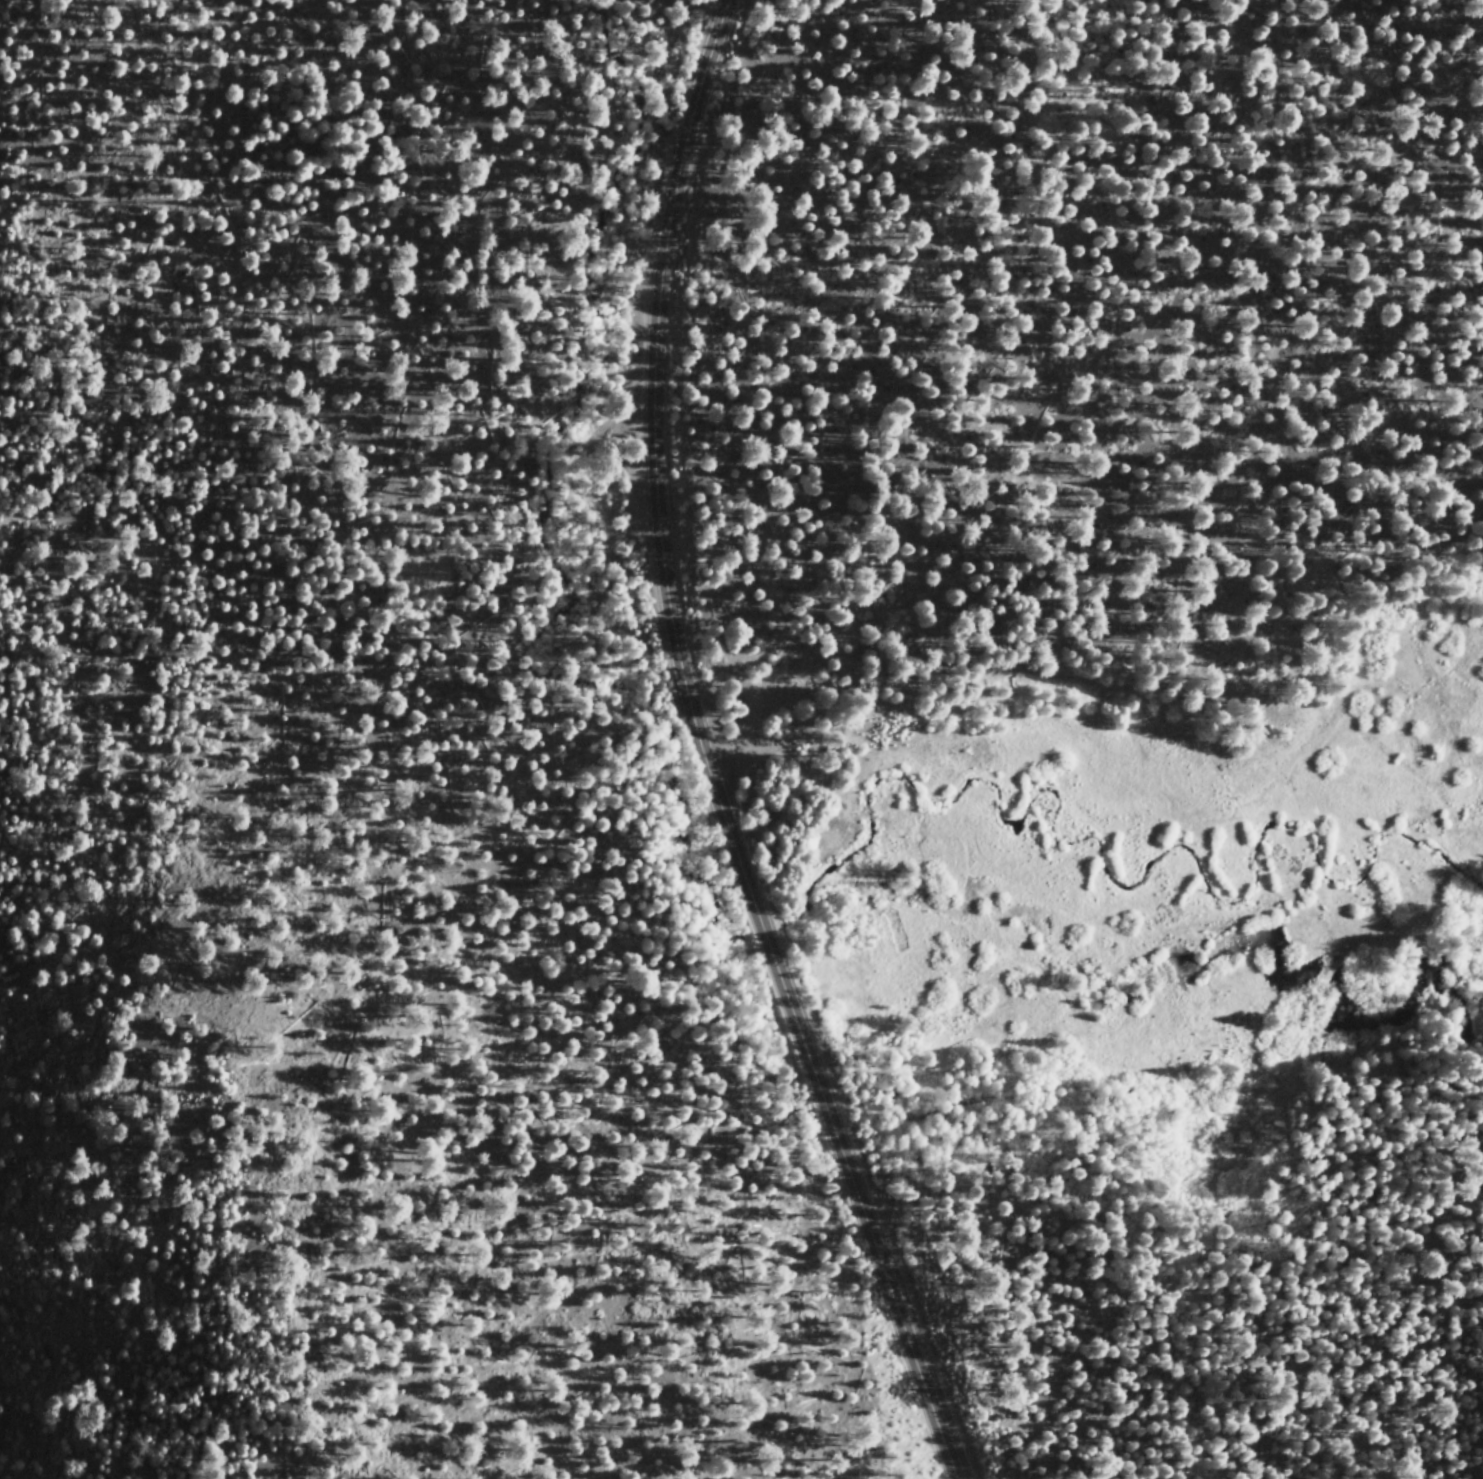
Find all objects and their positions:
road: (701, 754)

